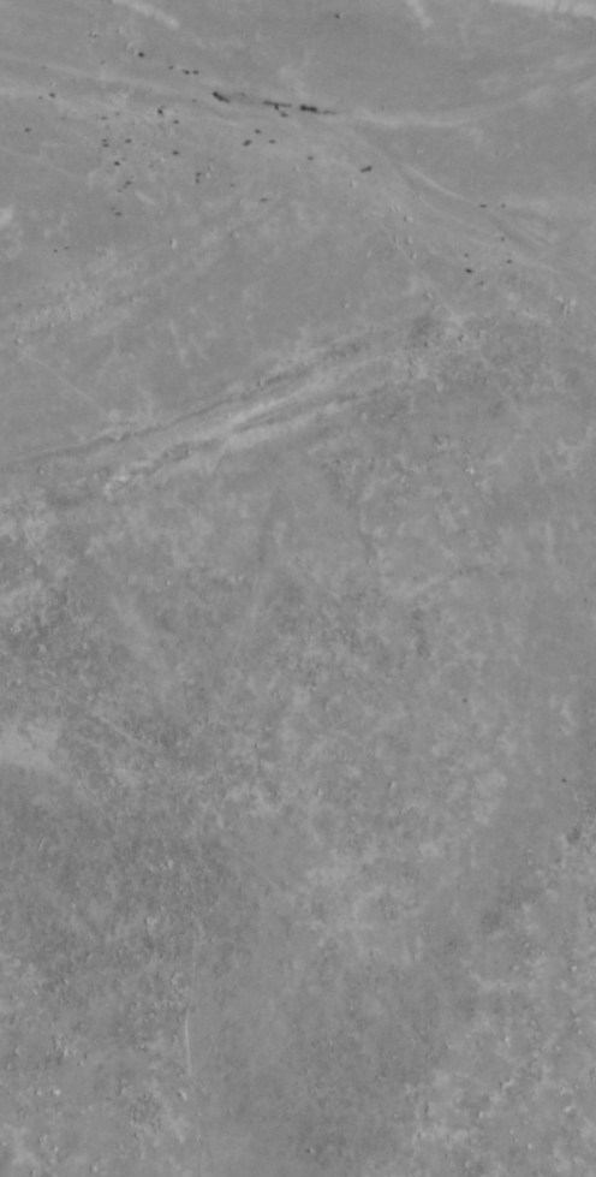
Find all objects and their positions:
road: (308, 382)

